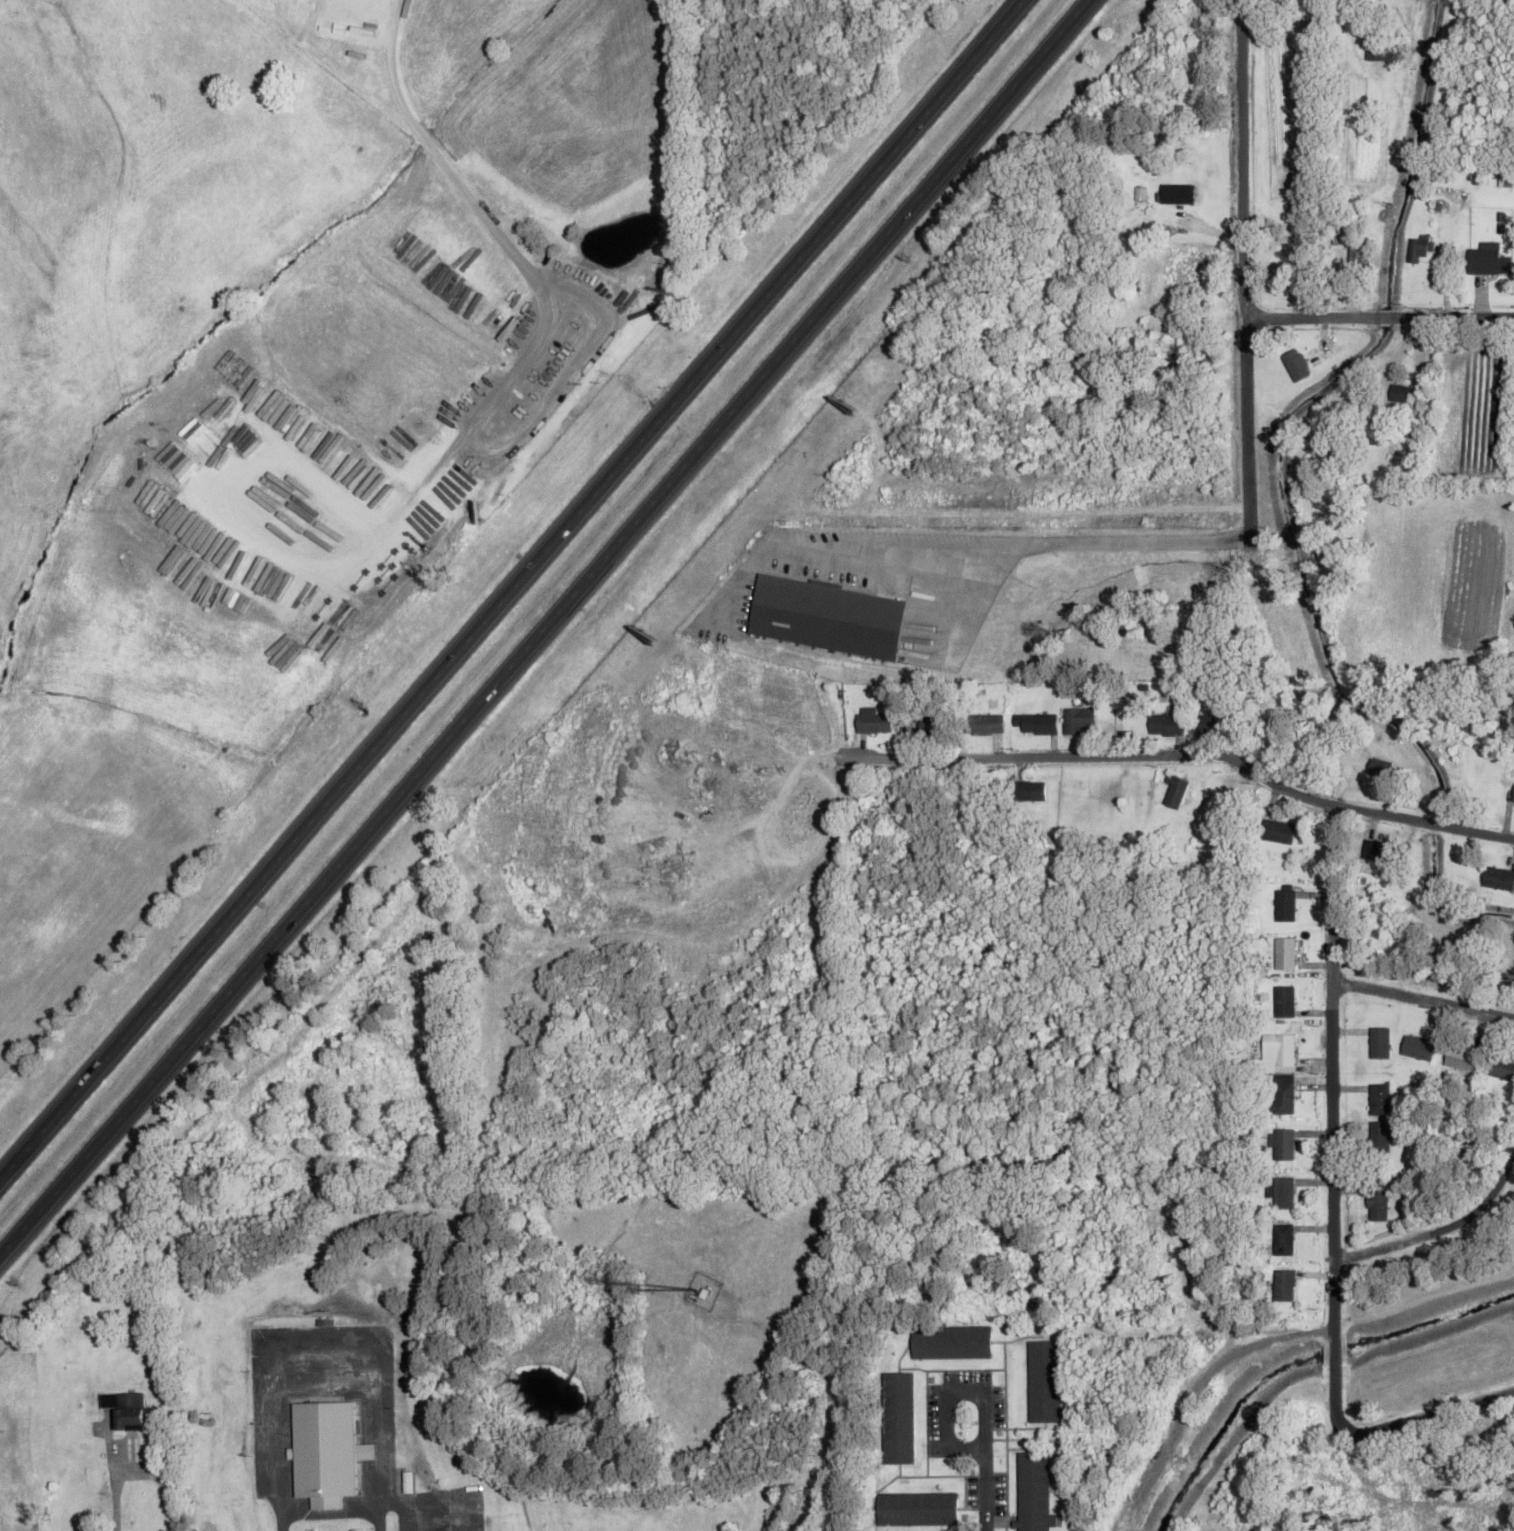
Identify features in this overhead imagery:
building: (1201, 15)
building: (1380, 46)
building: (1175, 190)
building: (1416, 246)
road: (867, 247)
building: (1357, 248)
building: (1487, 257)
road: (1241, 270)
road: (527, 274)
building: (1341, 287)
road: (1378, 314)
building: (1295, 362)
building: (1401, 390)
building: (1409, 427)
building: (1325, 443)
road: (221, 482)
road: (1007, 511)
road: (1013, 542)
road: (511, 590)
building: (823, 615)
building: (1076, 717)
building: (872, 718)
building: (1035, 720)
building: (981, 721)
building: (929, 722)
building: (1165, 722)
road: (1196, 751)
building: (1378, 765)
building: (1027, 787)
building: (1173, 788)
building: (1513, 792)
building: (1513, 801)
building: (1278, 828)
building: (1375, 848)
road: (325, 872)
building: (1498, 876)
building: (1284, 900)
building: (1283, 951)
road: (1422, 997)
building: (1283, 999)
building: (1379, 1039)
building: (1418, 1045)
building: (1277, 1050)
building: (1460, 1055)
building: (1502, 1065)
building: (1283, 1091)
building: (1379, 1096)
road: (1331, 1102)
building: (1379, 1136)
building: (1281, 1140)
building: (1280, 1189)
building: (1376, 1199)
road: (1441, 1226)
building: (1281, 1236)
building: (1283, 1283)
building: (950, 1339)
building: (1043, 1379)
road: (833, 1393)
road: (981, 1396)
building: (127, 1409)
building: (894, 1415)
road: (1416, 1416)
building: (324, 1449)
building: (1033, 1490)
road: (984, 1491)
building: (915, 1505)

